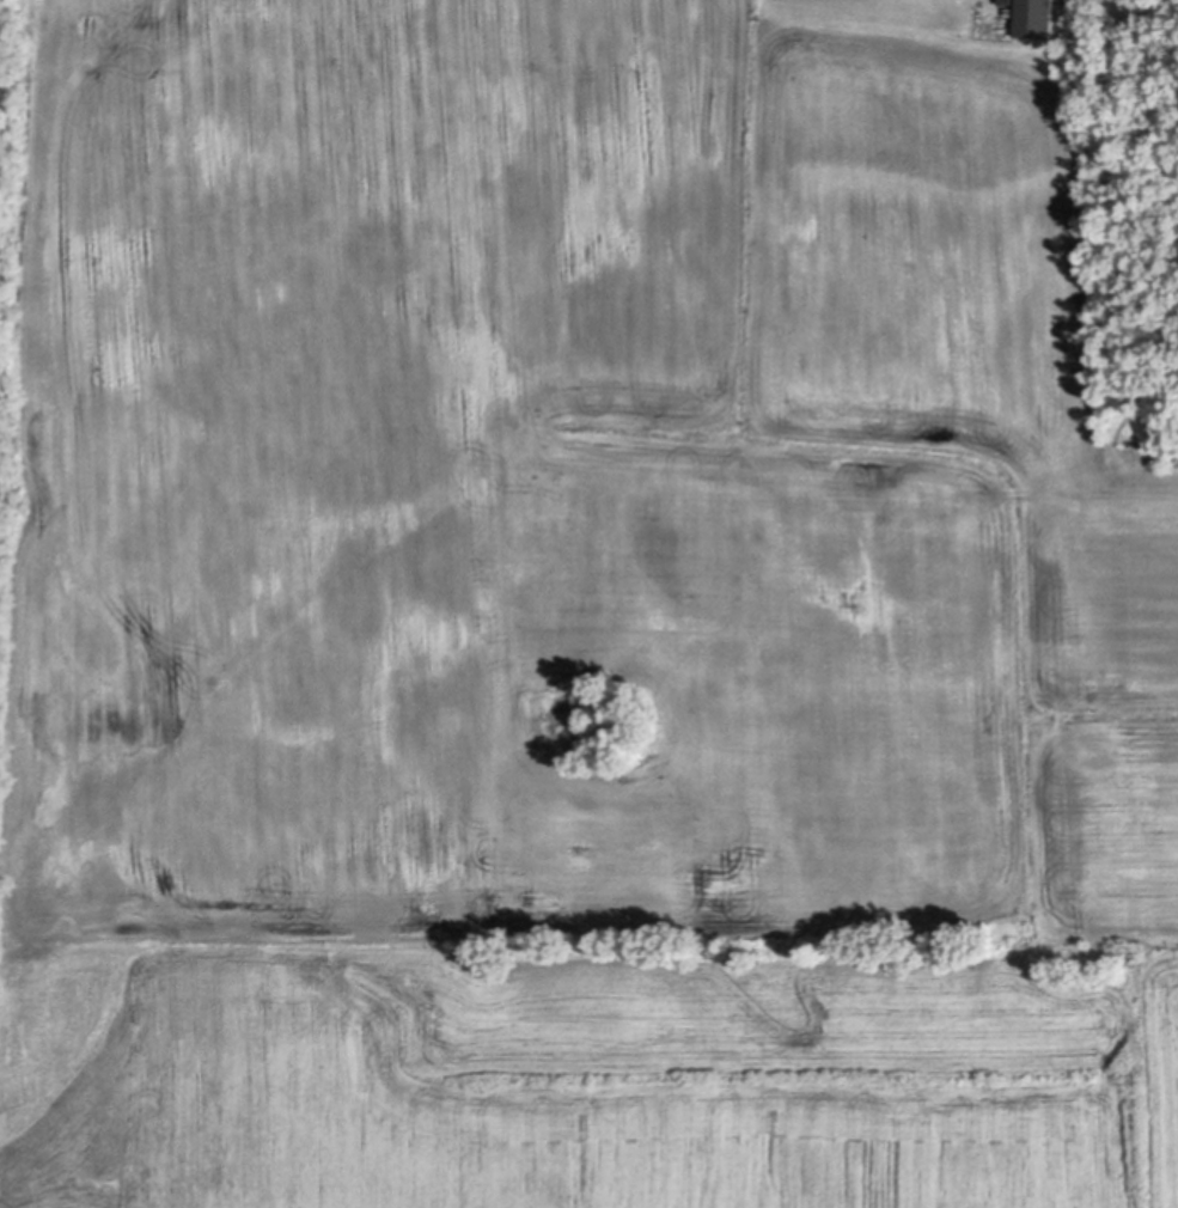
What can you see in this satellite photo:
road: (1131, 0)
building: (1033, 17)

